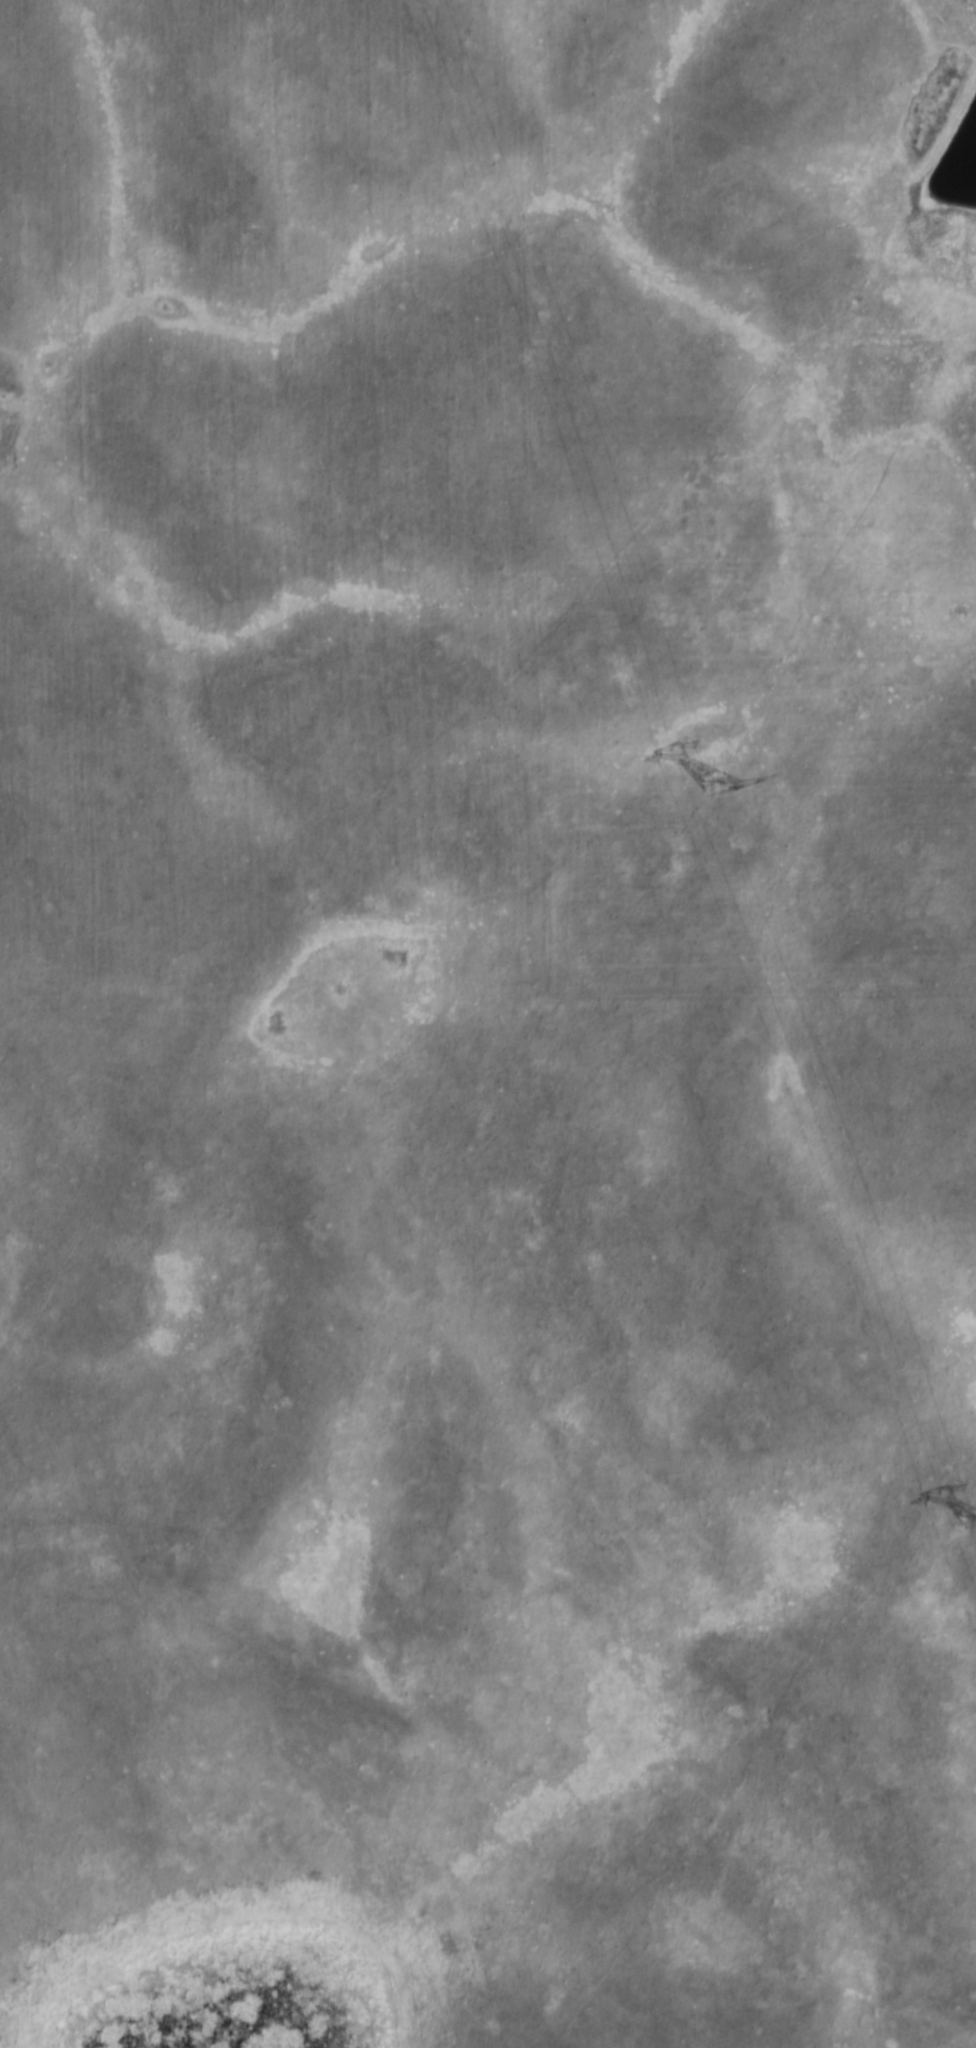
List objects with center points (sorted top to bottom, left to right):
power tower: (717, 784)
power tower: (972, 1520)

